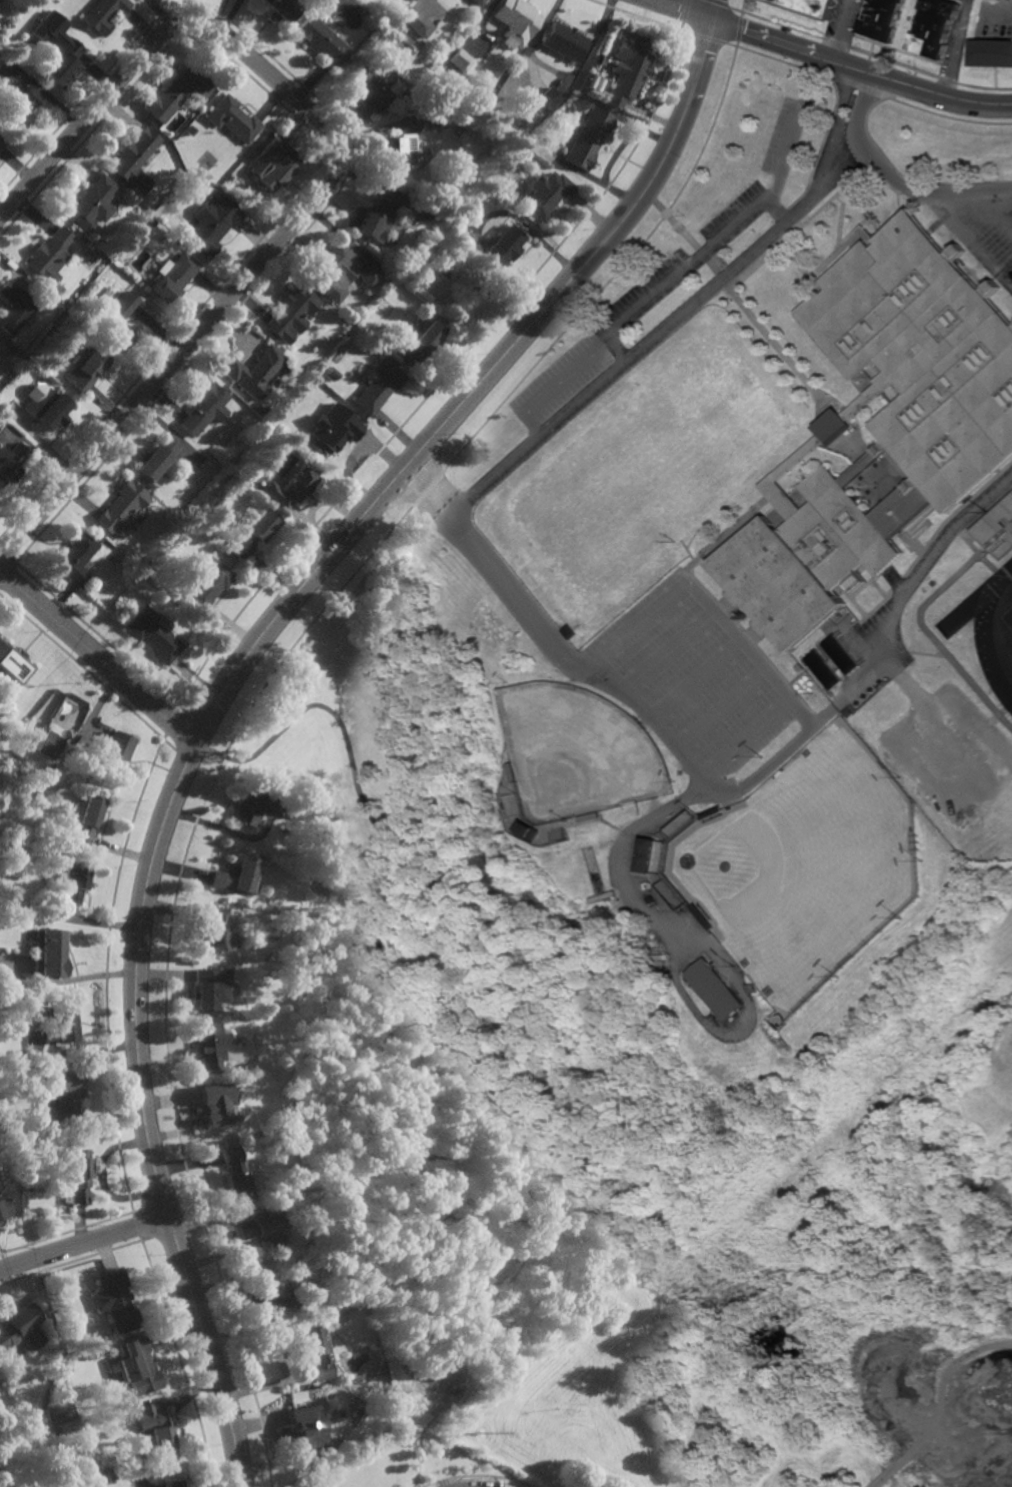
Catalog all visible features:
building: (413, 0)
building: (477, 2)
building: (814, 6)
building: (282, 10)
building: (105, 14)
building: (882, 19)
building: (514, 20)
building: (418, 21)
building: (937, 27)
road: (842, 31)
building: (323, 40)
building: (561, 40)
building: (57, 48)
road: (958, 48)
building: (991, 52)
building: (461, 59)
road: (829, 61)
building: (626, 68)
building: (443, 84)
building: (375, 86)
building: (179, 93)
building: (548, 97)
building: (577, 104)
building: (18, 108)
building: (442, 115)
building: (234, 118)
building: (191, 130)
building: (465, 136)
building: (588, 137)
building: (1, 143)
building: (1, 150)
building: (399, 152)
building: (512, 158)
building: (136, 159)
building: (276, 163)
road: (332, 178)
road: (894, 181)
building: (547, 194)
building: (94, 203)
building: (424, 211)
road: (773, 211)
road: (1000, 217)
building: (376, 218)
road: (988, 221)
building: (215, 223)
road: (713, 242)
building: (504, 246)
building: (51, 256)
building: (343, 269)
building: (175, 278)
building: (15, 307)
road: (741, 307)
building: (294, 312)
road: (681, 312)
building: (119, 321)
building: (424, 341)
building: (89, 370)
building: (256, 371)
building: (318, 384)
road: (558, 384)
building: (379, 386)
building: (49, 409)
building: (207, 409)
building: (886, 422)
building: (335, 435)
building: (158, 461)
building: (11, 463)
park: (637, 481)
building: (288, 489)
building: (123, 510)
road: (448, 513)
building: (999, 532)
building: (252, 535)
building: (76, 560)
building: (208, 584)
road: (706, 604)
track: (983, 627)
building: (153, 633)
park: (1011, 636)
road: (668, 651)
building: (843, 651)
road: (98, 655)
building: (13, 662)
building: (798, 668)
building: (824, 670)
road: (234, 676)
road: (694, 680)
road: (259, 690)
parking lot: (704, 691)
road: (718, 709)
building: (848, 714)
road: (743, 738)
parking lot: (956, 744)
building: (49, 745)
park: (580, 753)
building: (115, 754)
building: (516, 771)
road: (743, 788)
building: (245, 807)
building: (726, 809)
building: (709, 813)
building: (590, 816)
building: (87, 818)
building: (531, 827)
building: (645, 854)
park: (804, 868)
building: (234, 876)
building: (74, 881)
building: (702, 917)
building: (217, 930)
building: (50, 953)
road: (682, 957)
building: (657, 958)
building: (657, 964)
building: (657, 970)
building: (210, 987)
building: (715, 990)
road: (469, 1009)
building: (64, 1024)
building: (210, 1045)
road: (374, 1061)
park: (448, 1063)
building: (64, 1094)
building: (214, 1102)
power tower: (820, 1119)
road: (400, 1122)
building: (232, 1175)
building: (80, 1176)
building: (4, 1210)
building: (257, 1230)
road: (83, 1243)
building: (269, 1300)
building: (118, 1302)
building: (336, 1320)
building: (20, 1329)
building: (316, 1354)
building: (137, 1367)
building: (359, 1384)
building: (305, 1429)
power tower: (478, 1429)
building: (155, 1431)
building: (55, 1432)
road: (477, 1476)
building: (172, 1483)

